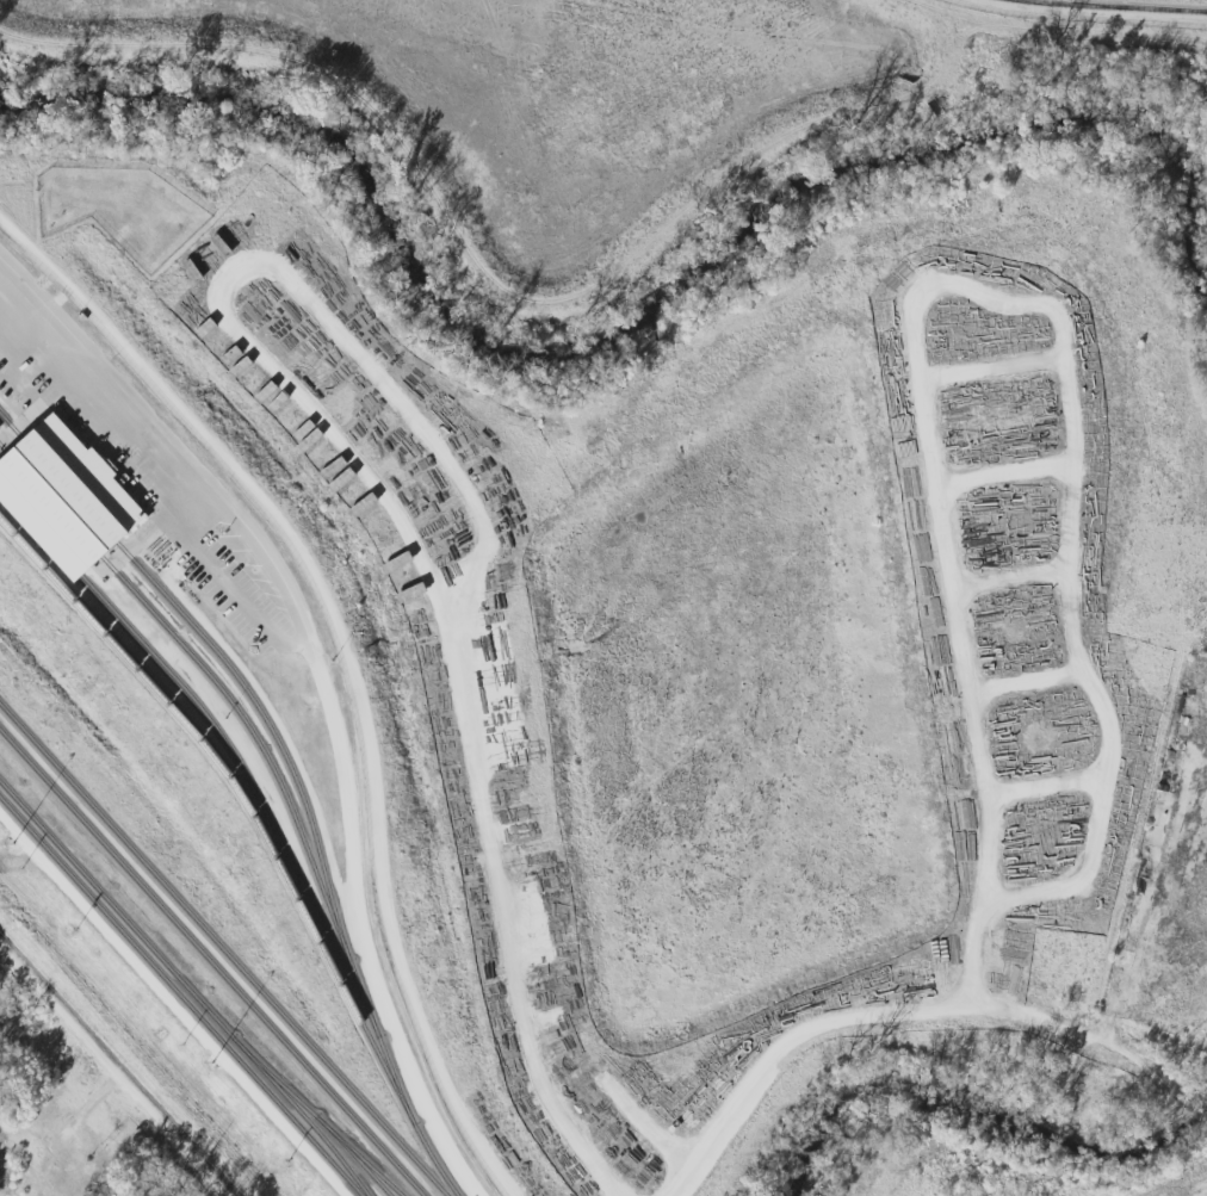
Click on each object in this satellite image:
railway: (1112, 7)
building: (60, 496)
road: (345, 663)
road: (330, 709)
railway: (192, 997)
railway: (177, 998)
road: (910, 1012)
road: (113, 1068)

